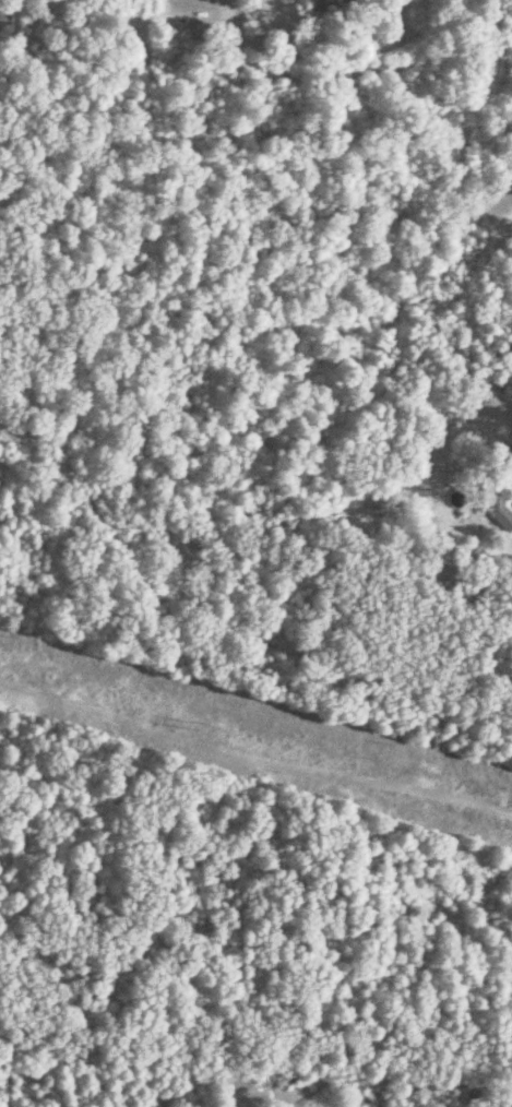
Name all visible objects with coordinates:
building: (334, 8)
road: (357, 73)

